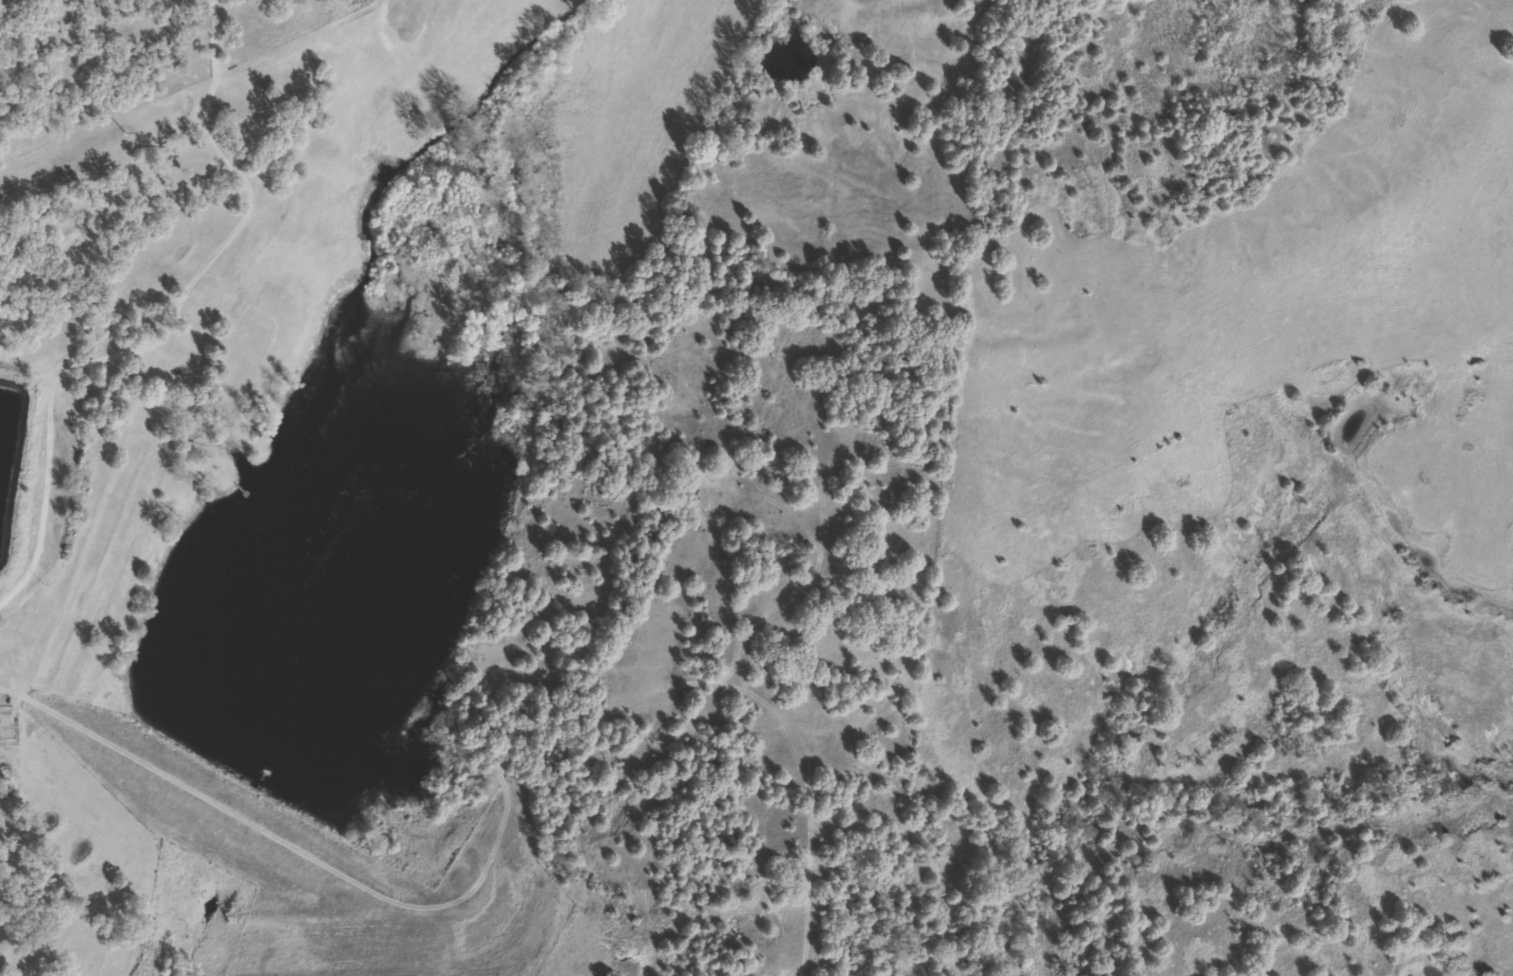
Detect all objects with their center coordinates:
power tower: (120, 129)

